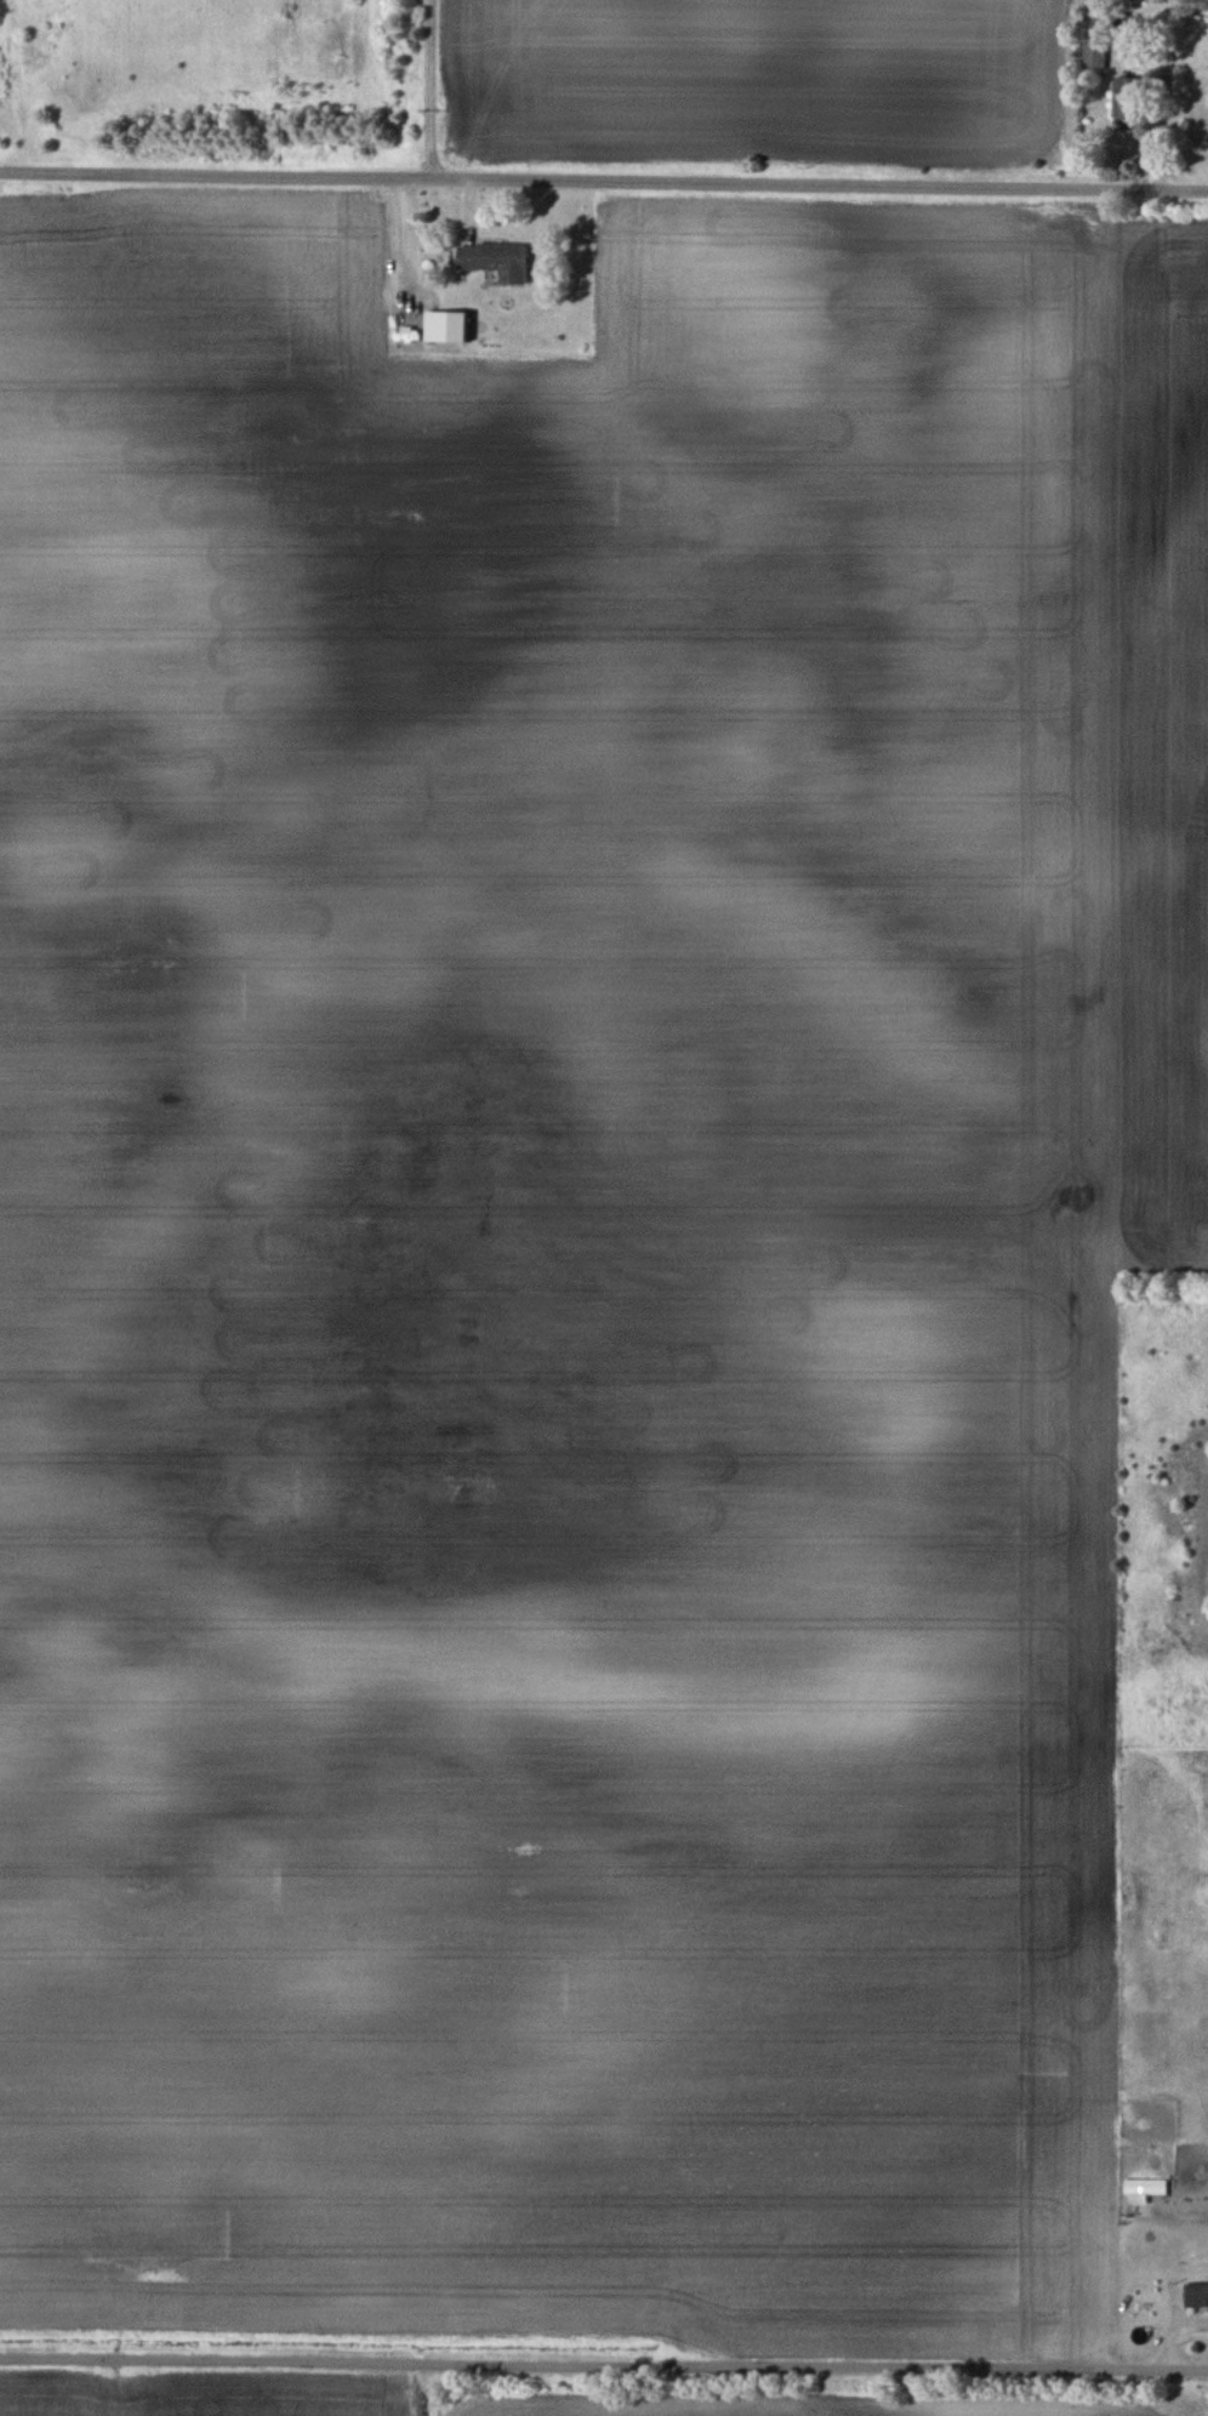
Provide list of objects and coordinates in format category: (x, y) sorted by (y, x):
building: (1092, 56)
building: (1122, 99)
road: (604, 172)
building: (492, 260)
building: (441, 326)
building: (1143, 2187)
building: (1195, 2294)
road: (603, 2364)

